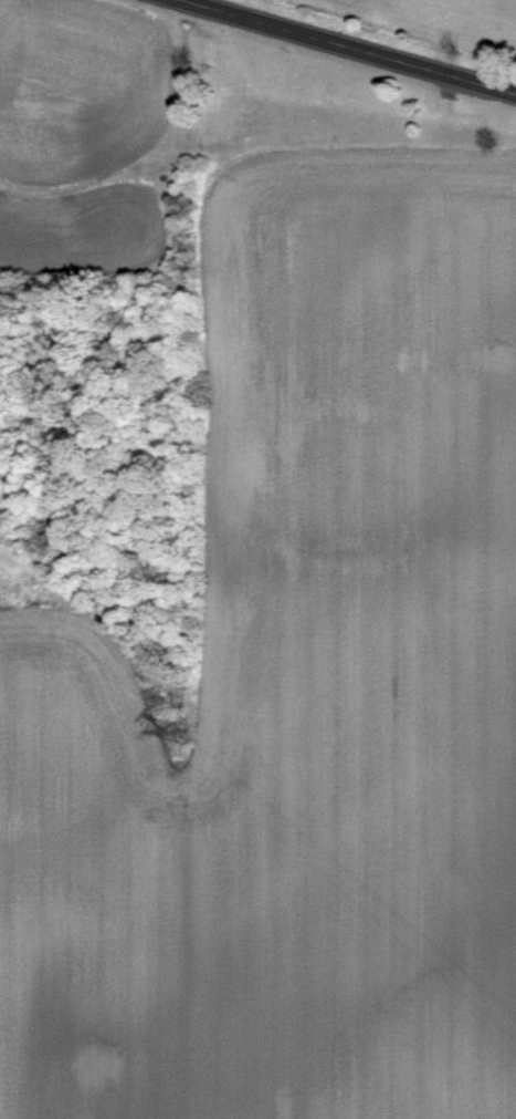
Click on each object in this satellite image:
road: (352, 45)
power tower: (179, 731)

